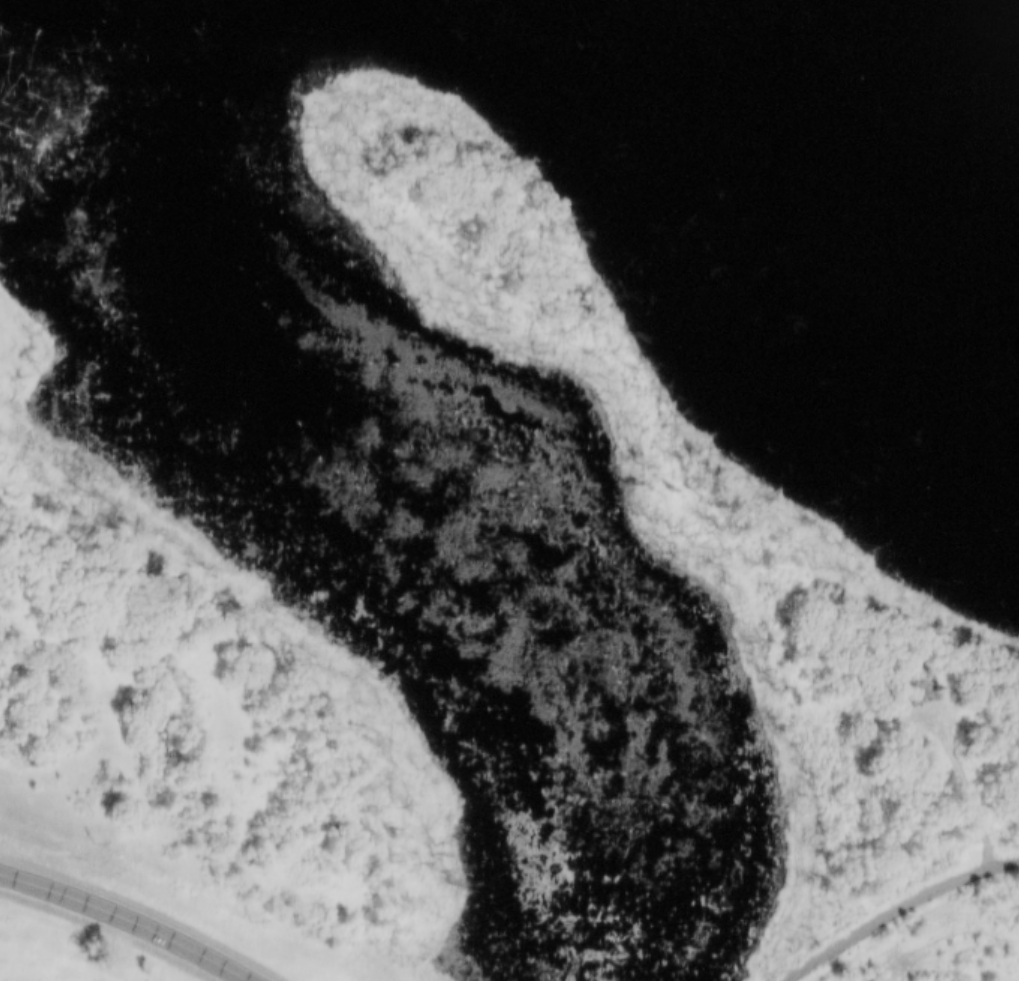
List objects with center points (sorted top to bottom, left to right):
road: (895, 910)
road: (131, 916)

